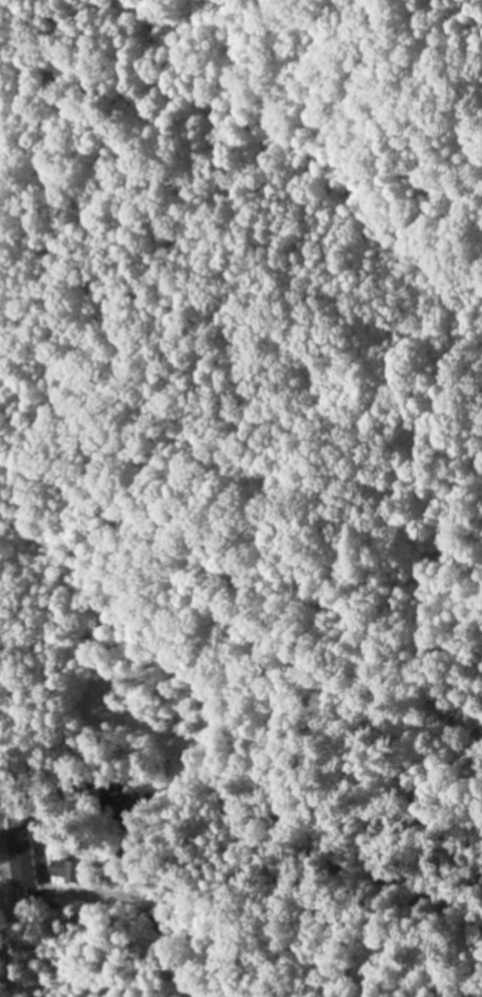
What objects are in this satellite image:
building: (61, 867)

